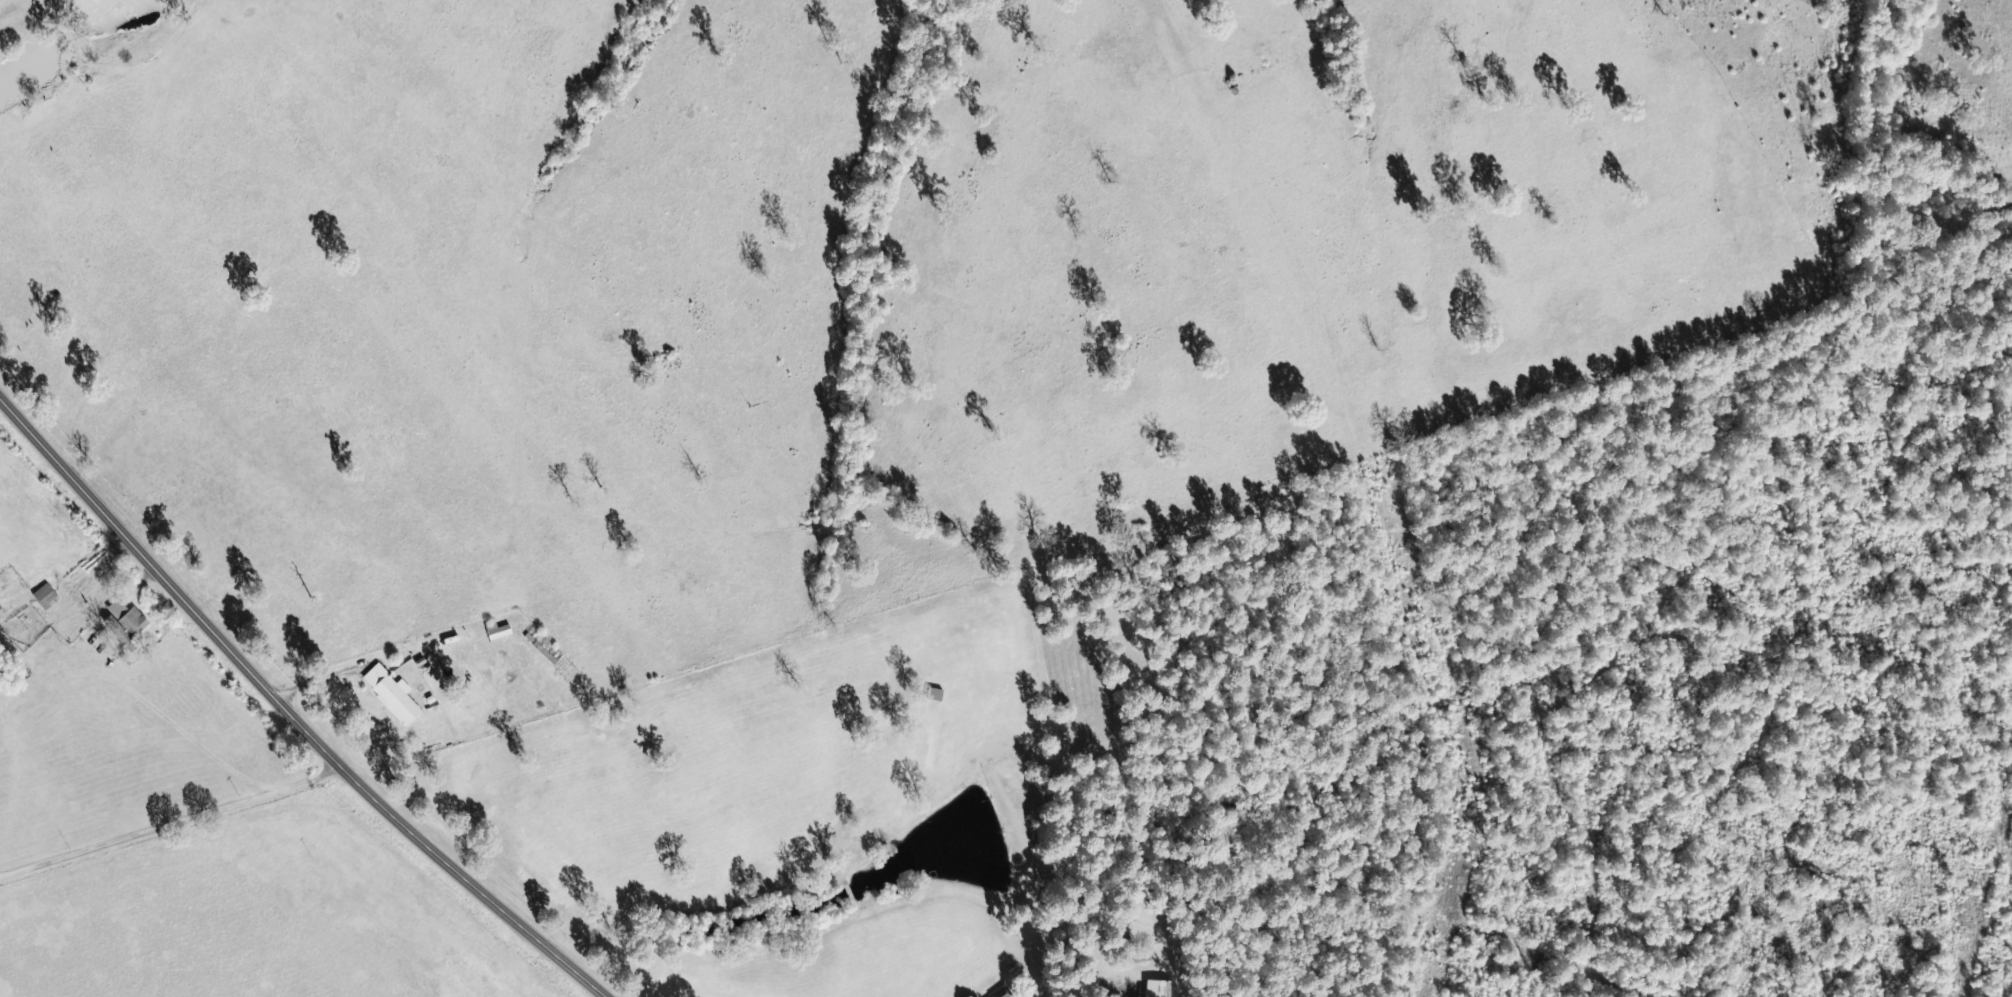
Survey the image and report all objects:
building: (45, 597)
building: (126, 624)
building: (498, 634)
building: (393, 695)
road: (287, 713)
road: (177, 829)
building: (1159, 989)

